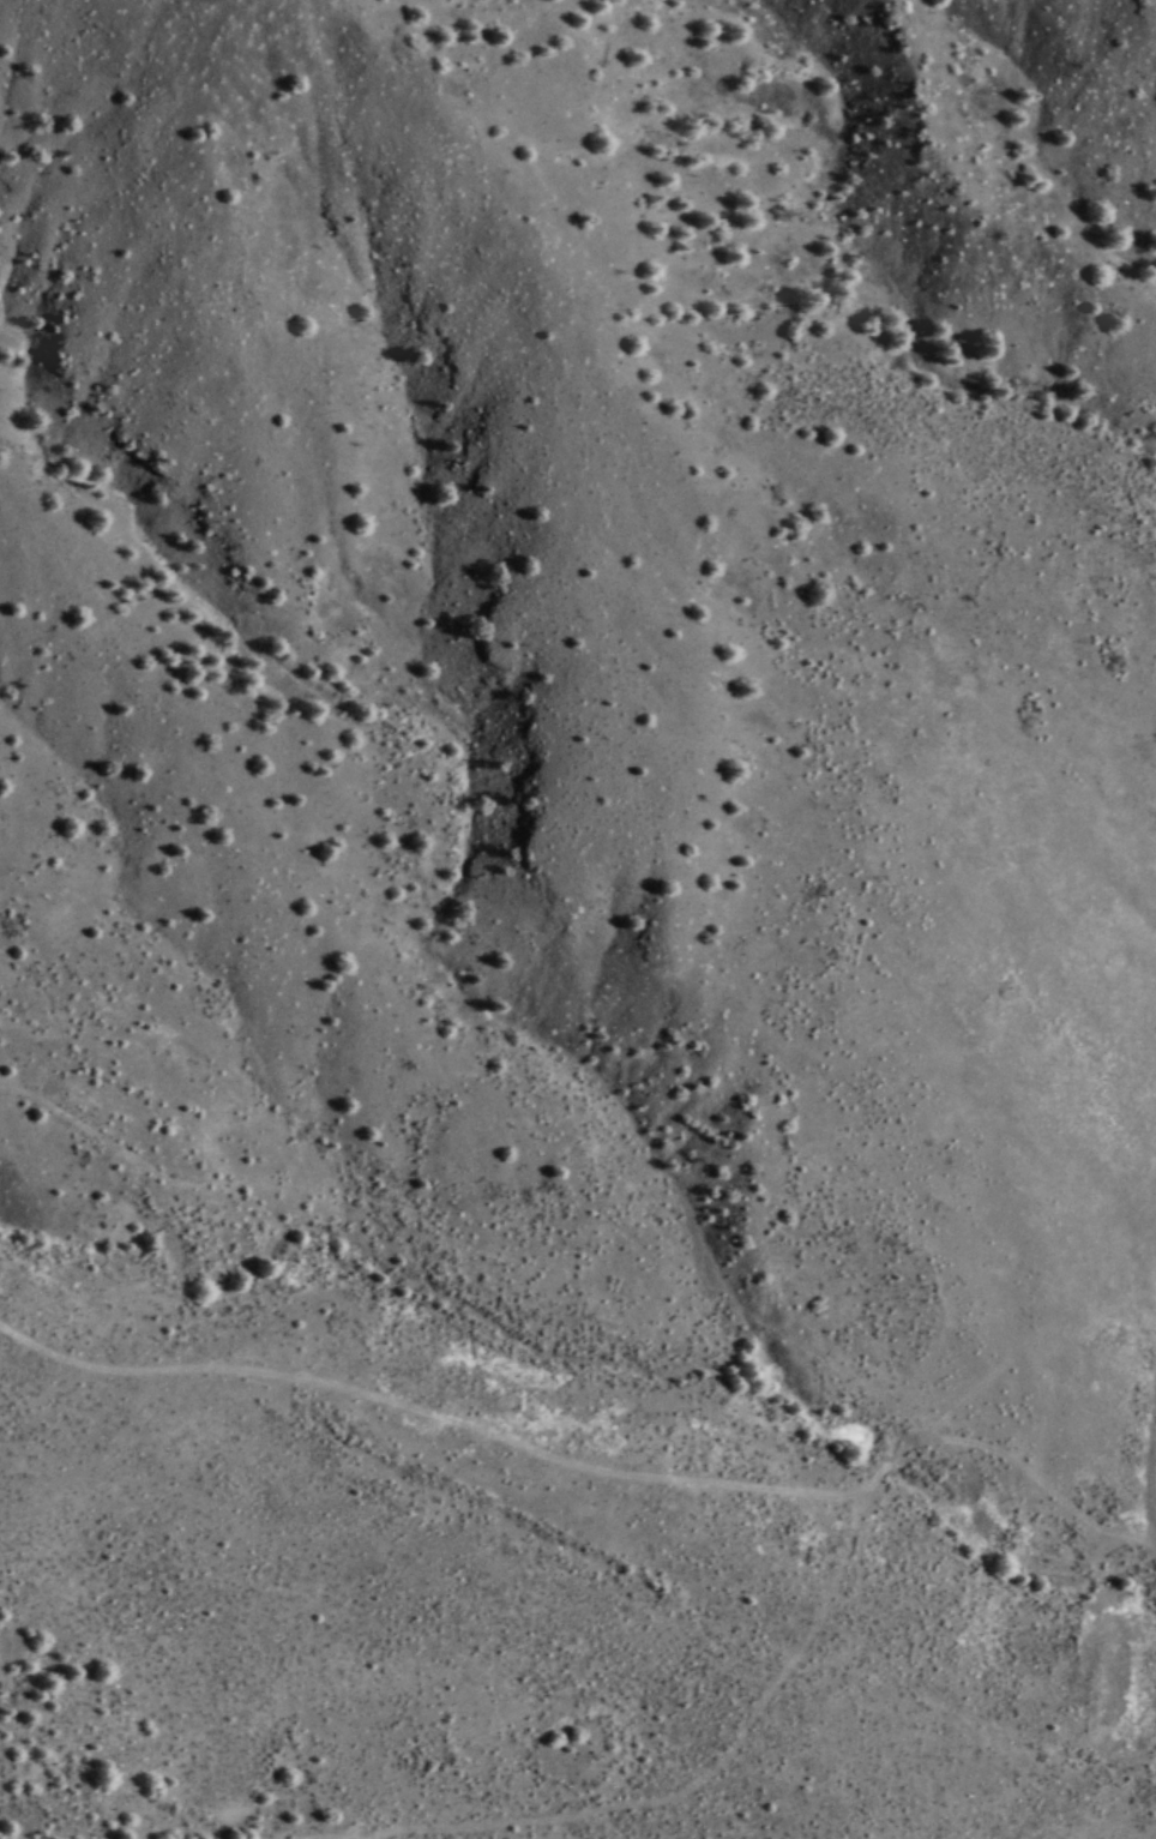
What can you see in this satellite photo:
road: (1126, 1401)

